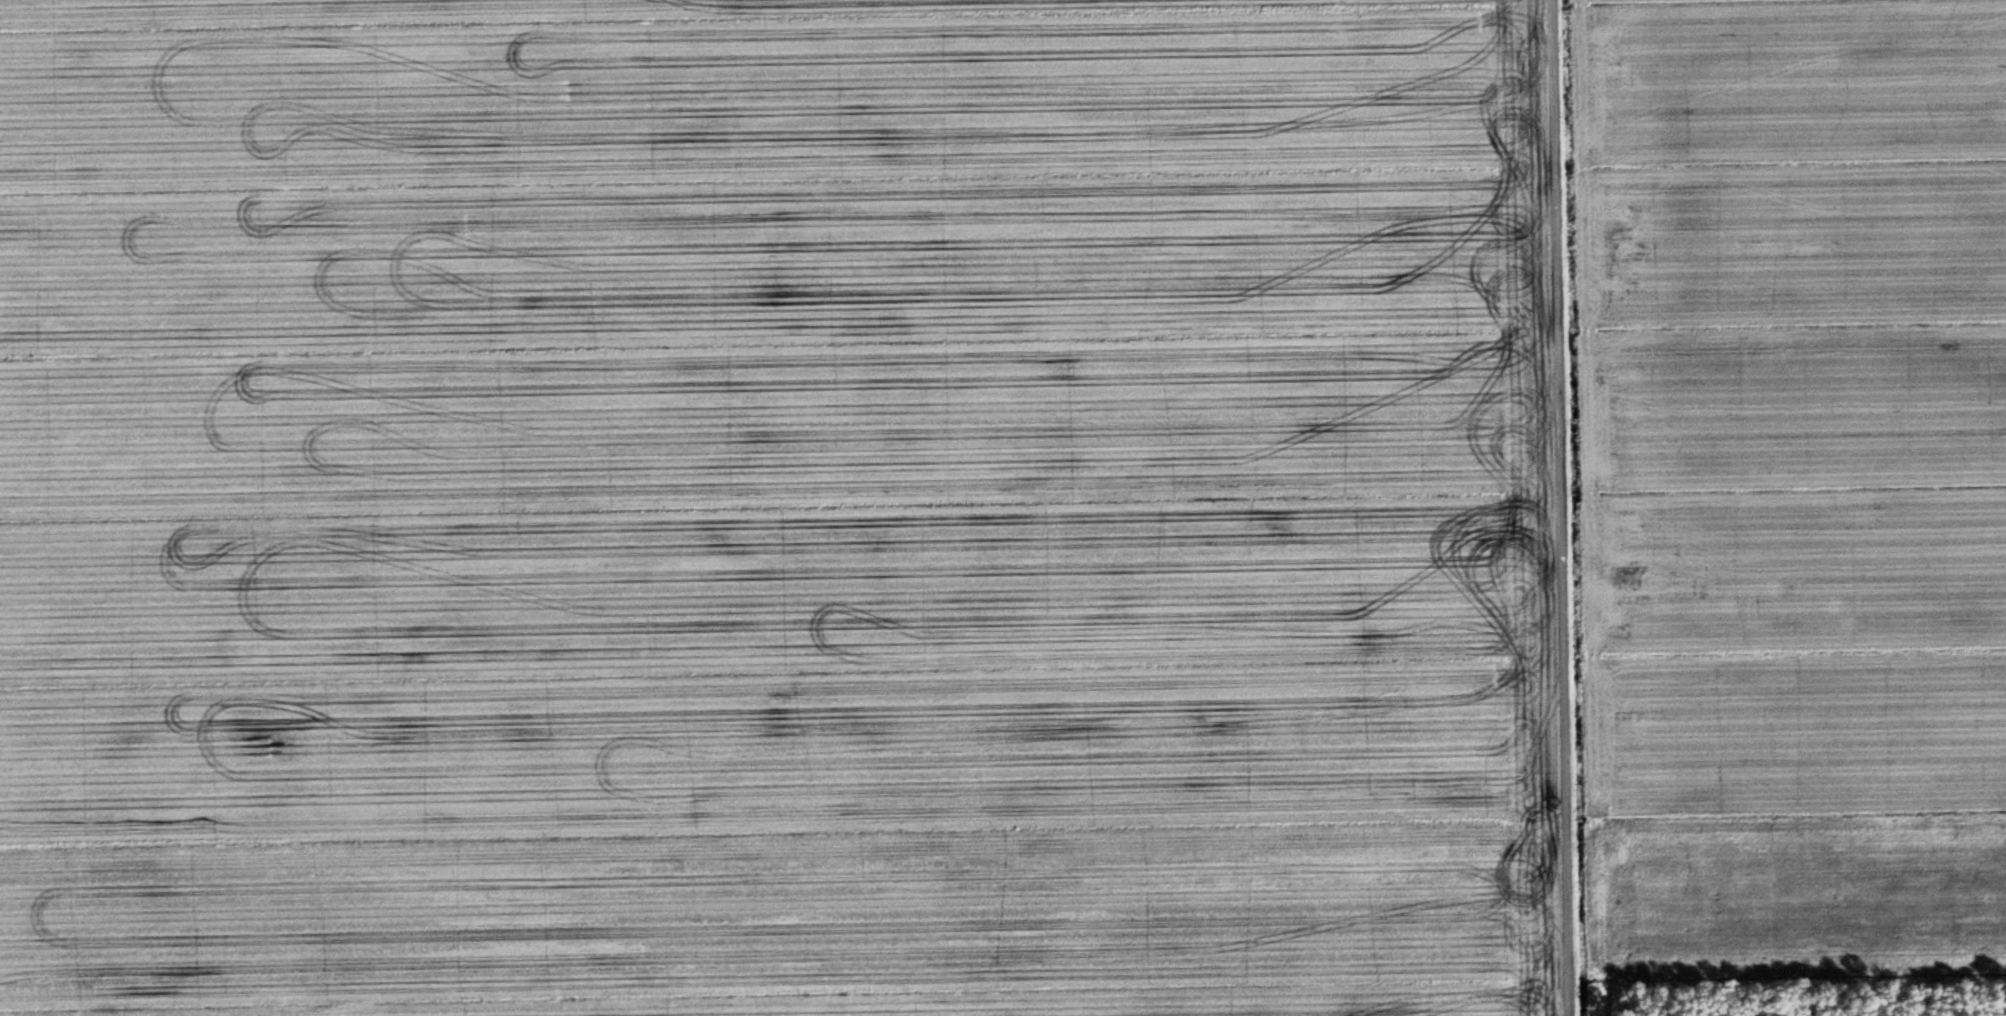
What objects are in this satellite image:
crop: (778, 509)

